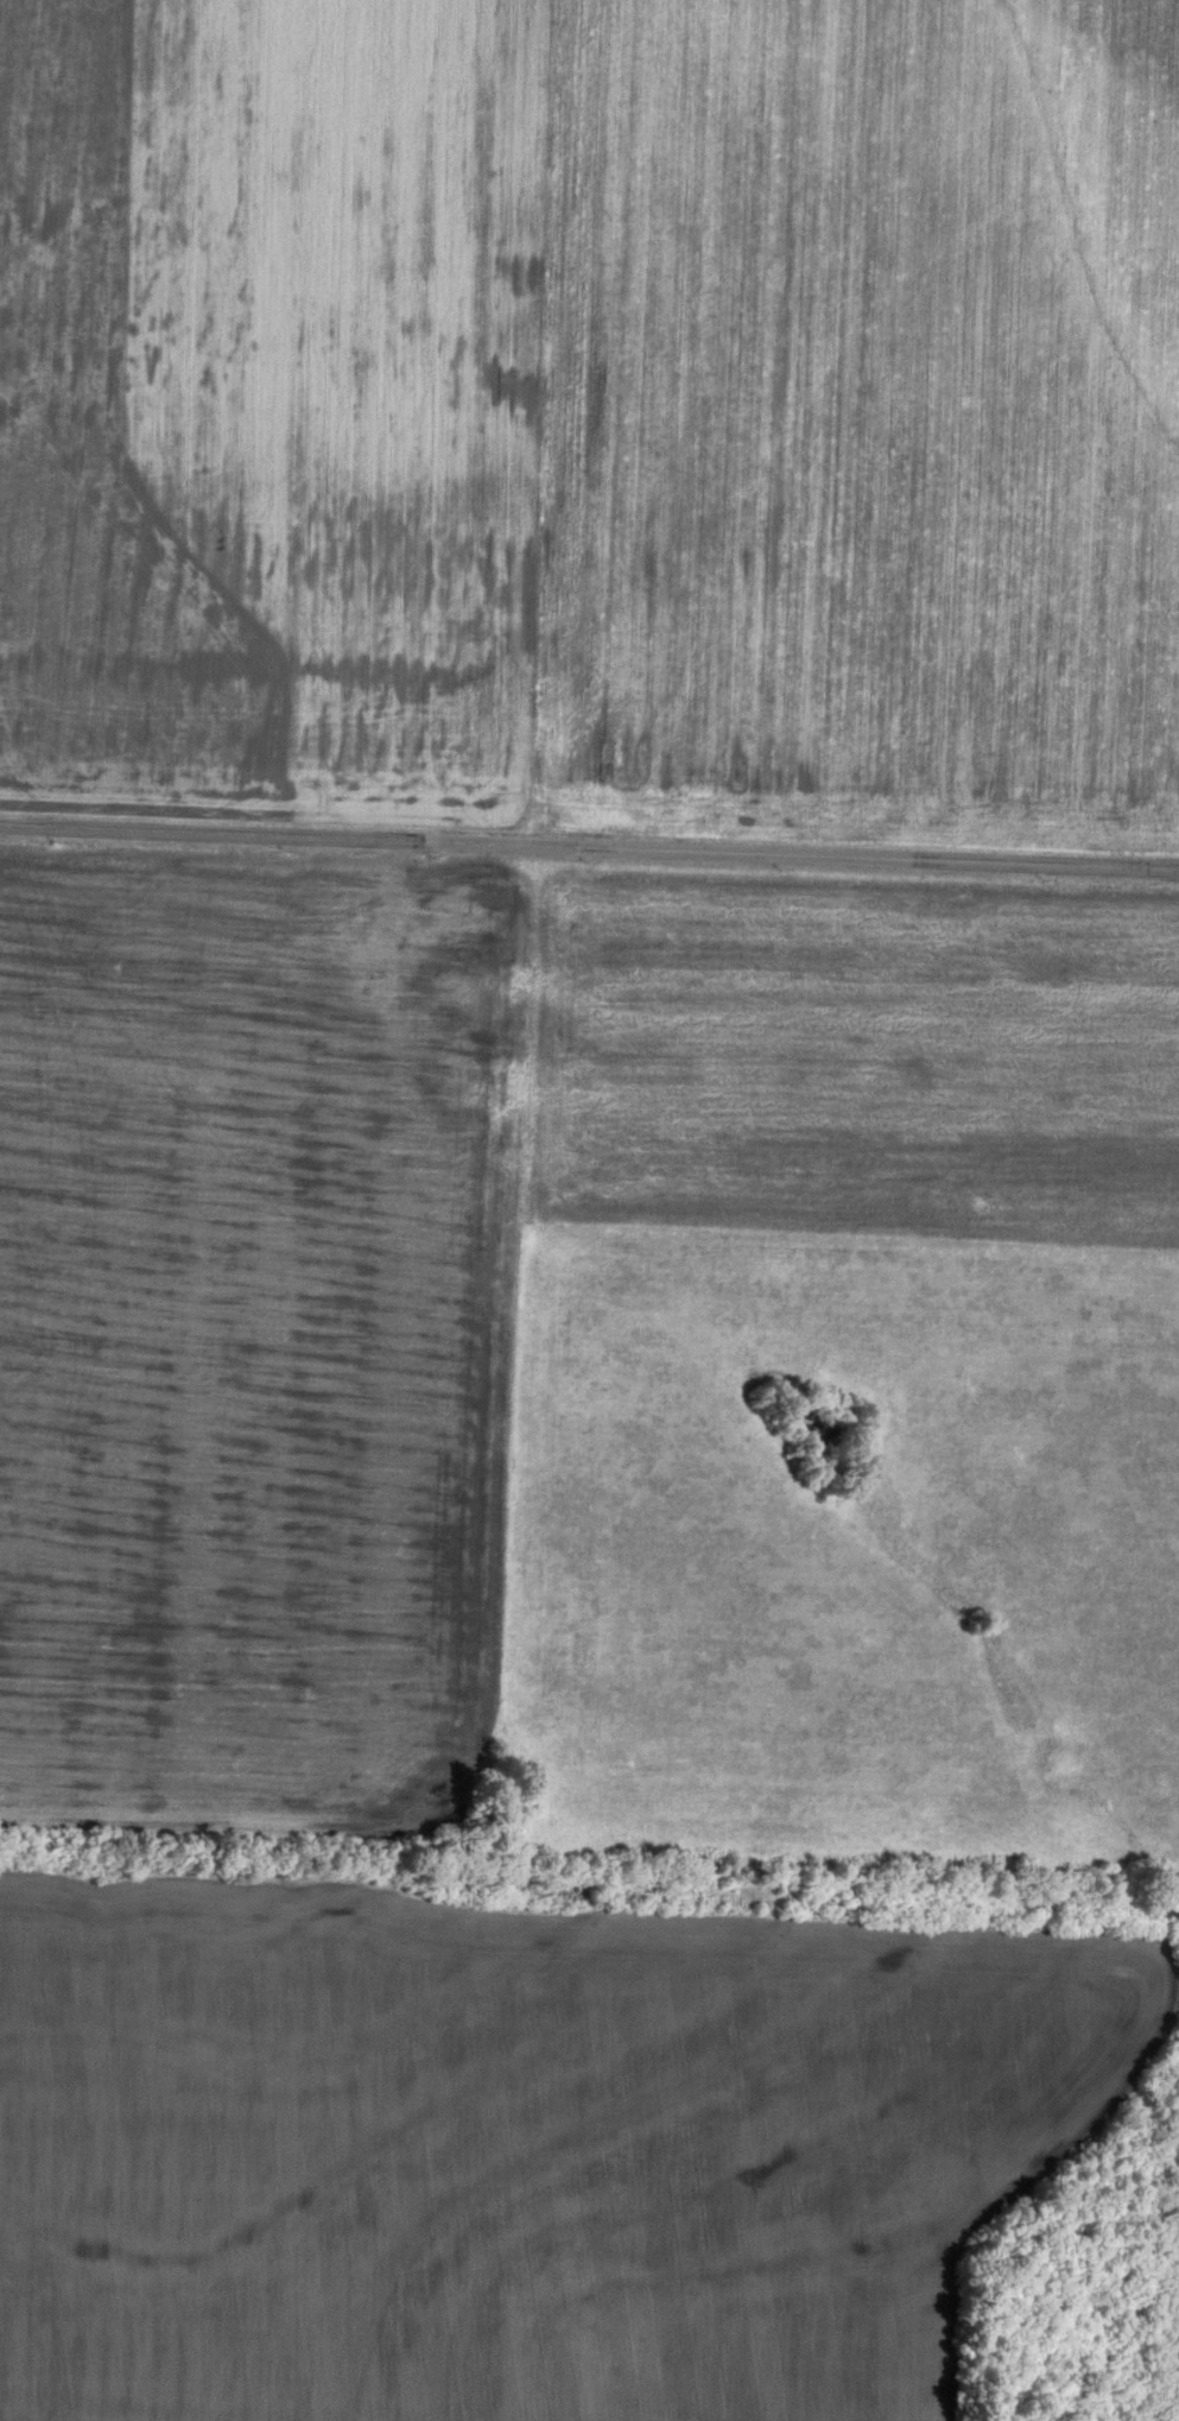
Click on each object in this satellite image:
road: (589, 847)

